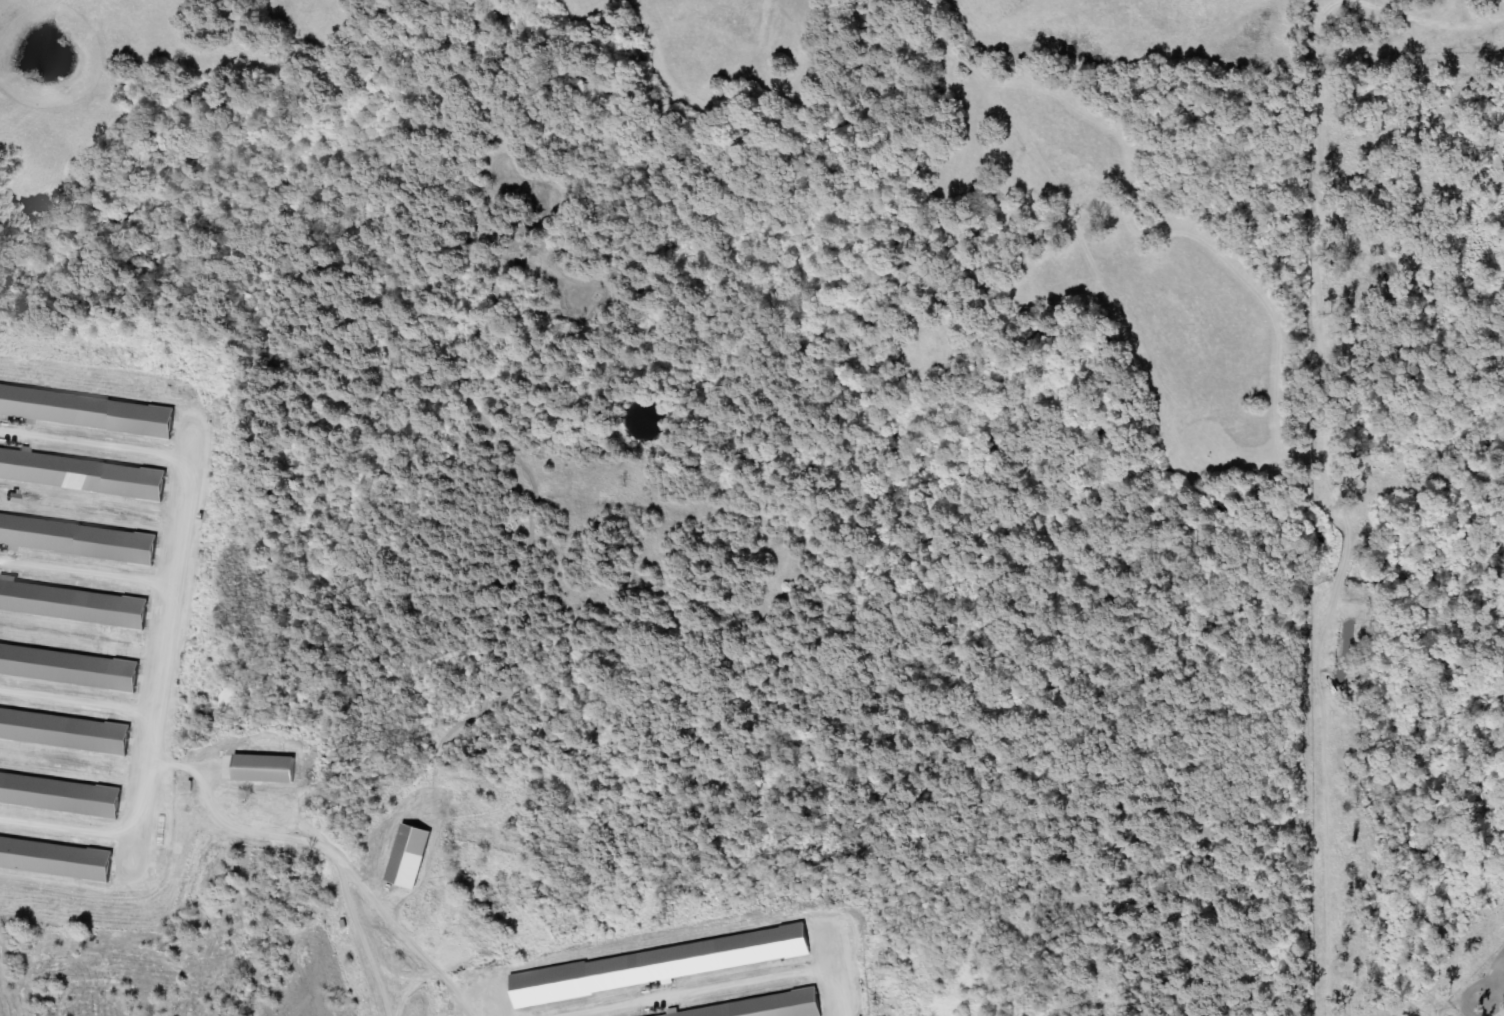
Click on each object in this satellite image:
building: (90, 411)
building: (82, 474)
building: (80, 539)
building: (73, 603)
building: (71, 666)
building: (67, 731)
building: (269, 769)
building: (62, 793)
building: (58, 858)
building: (665, 965)
building: (766, 1007)

